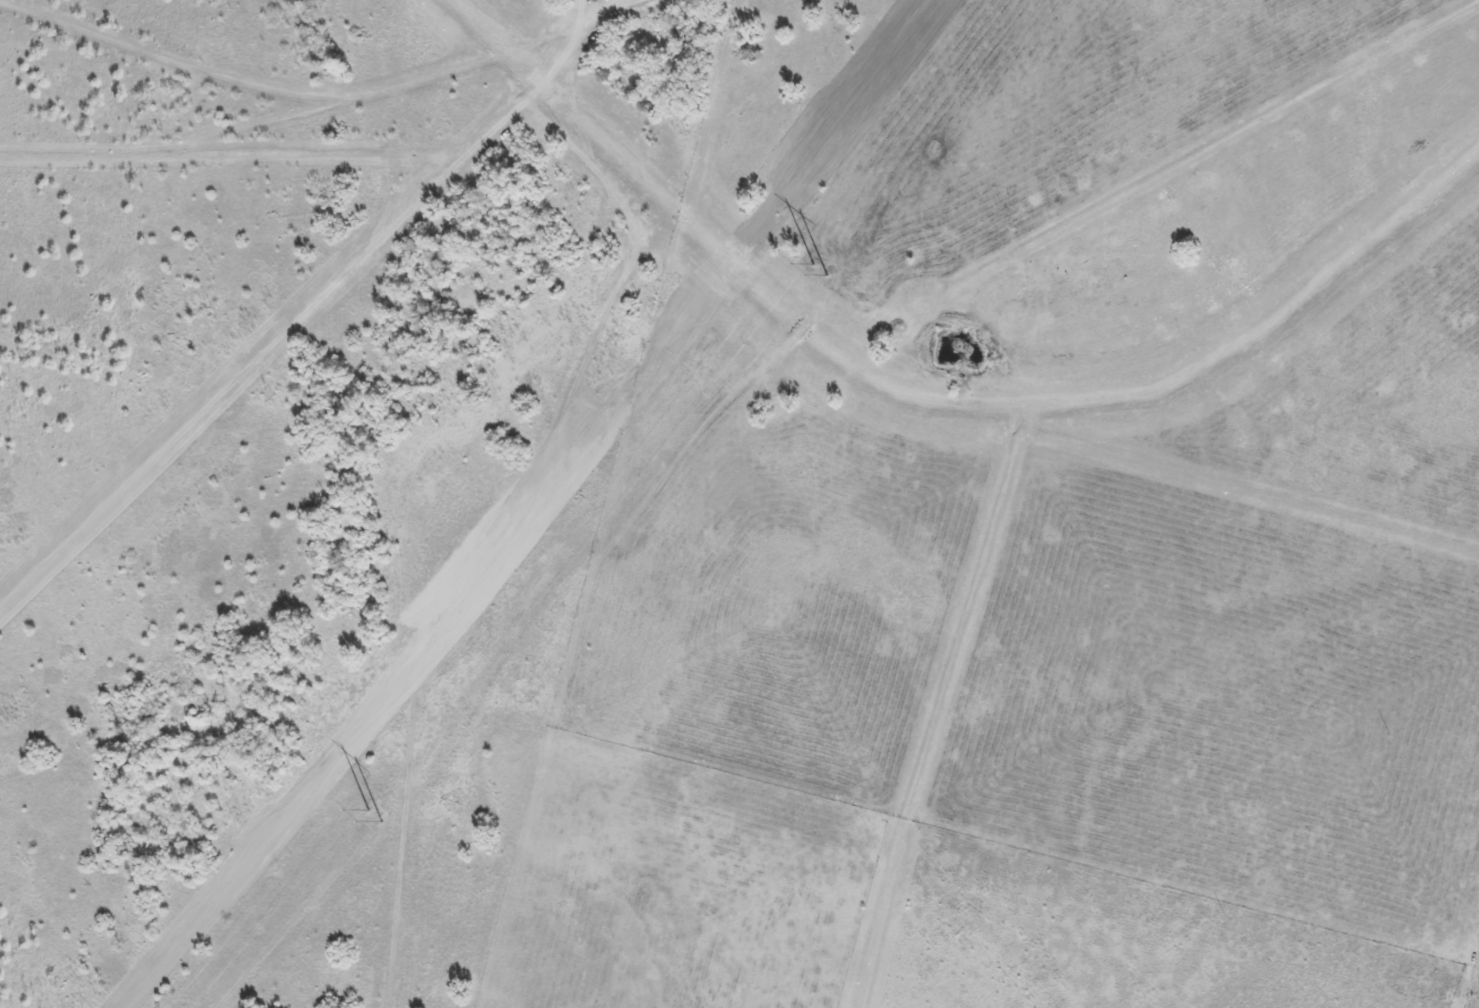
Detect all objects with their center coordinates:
power tower: (829, 263)
power tower: (384, 812)

